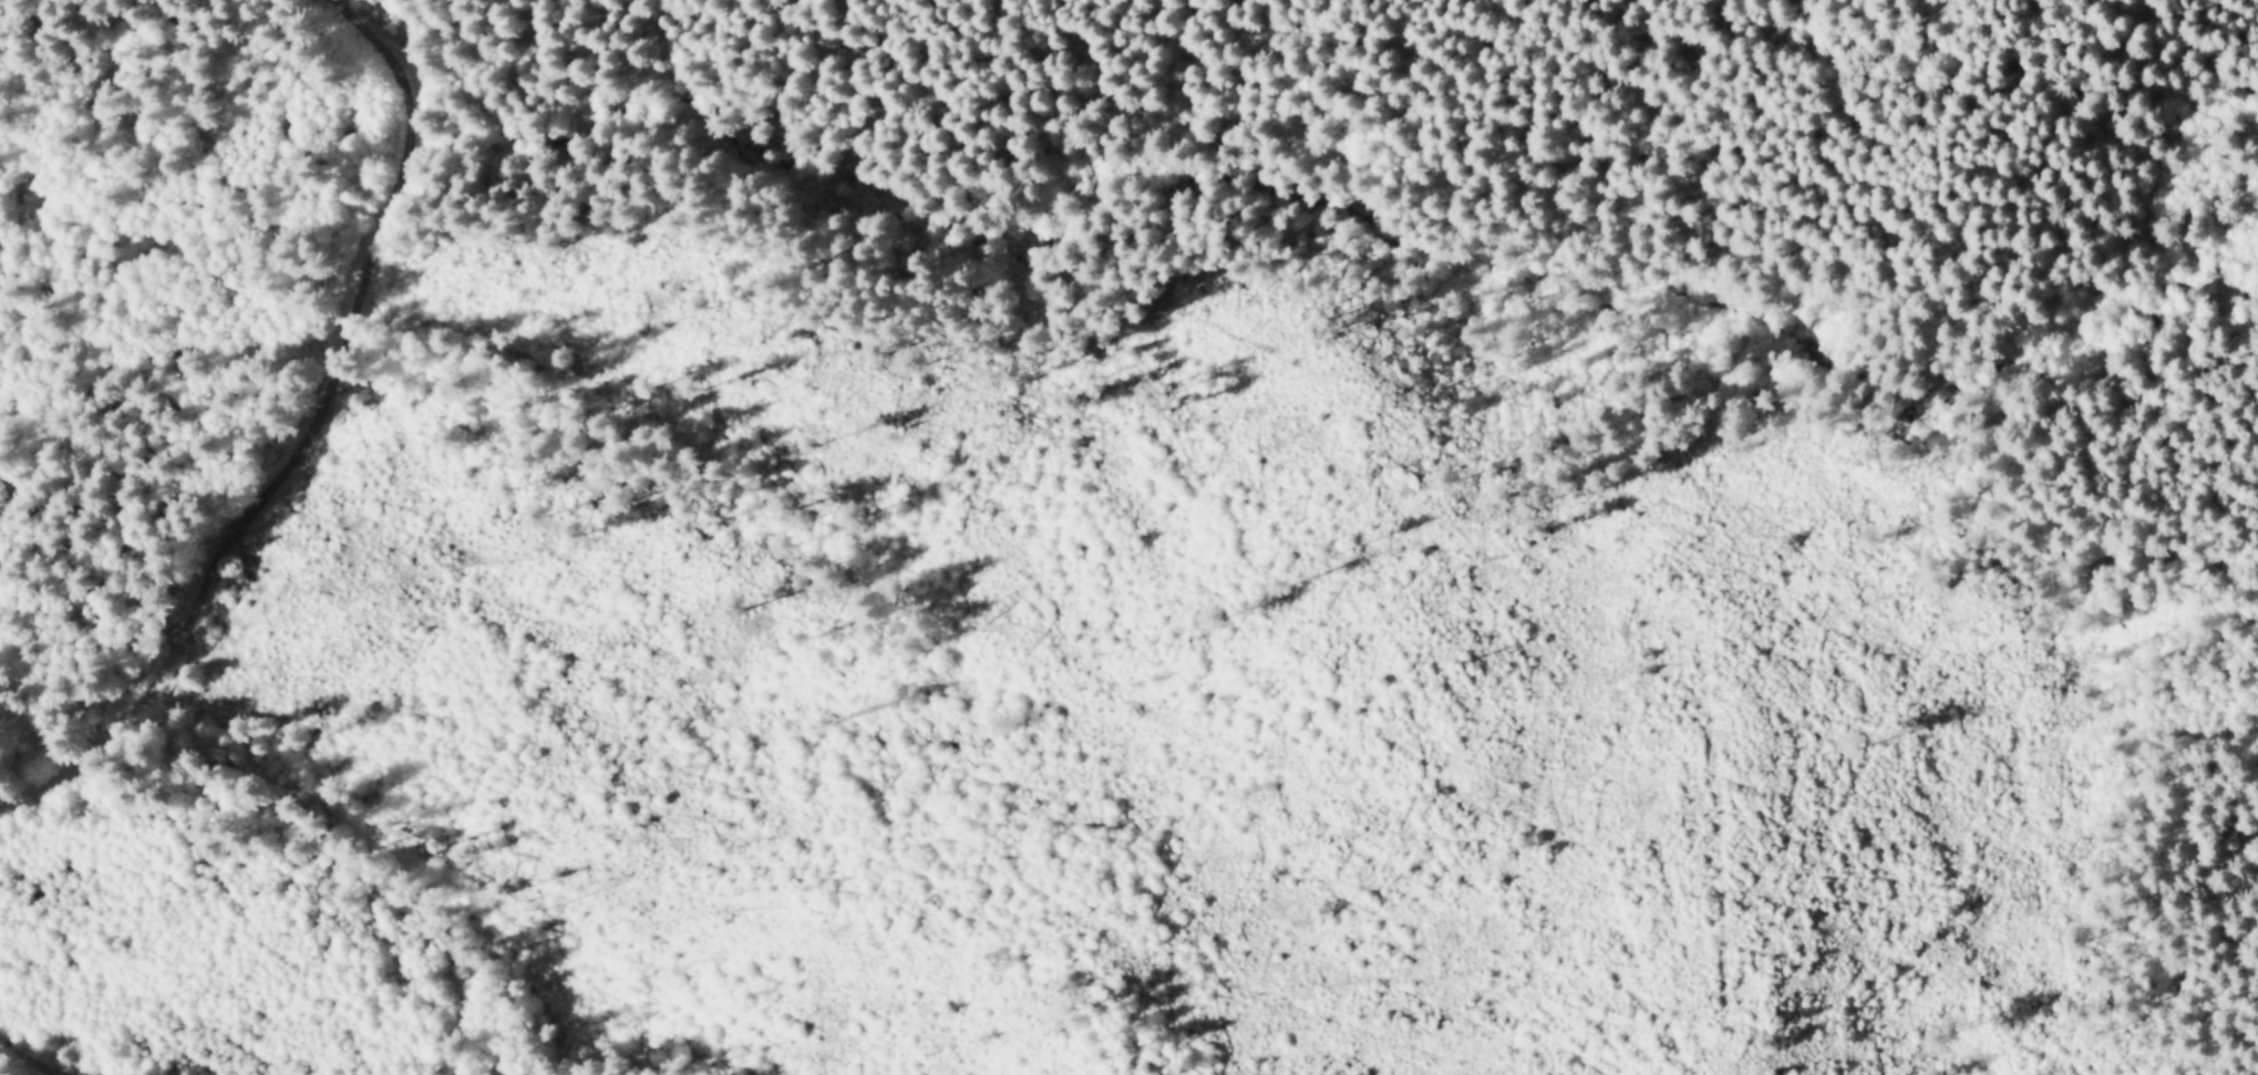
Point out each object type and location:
road: (352, 311)
road: (43, 766)
road: (14, 1066)

